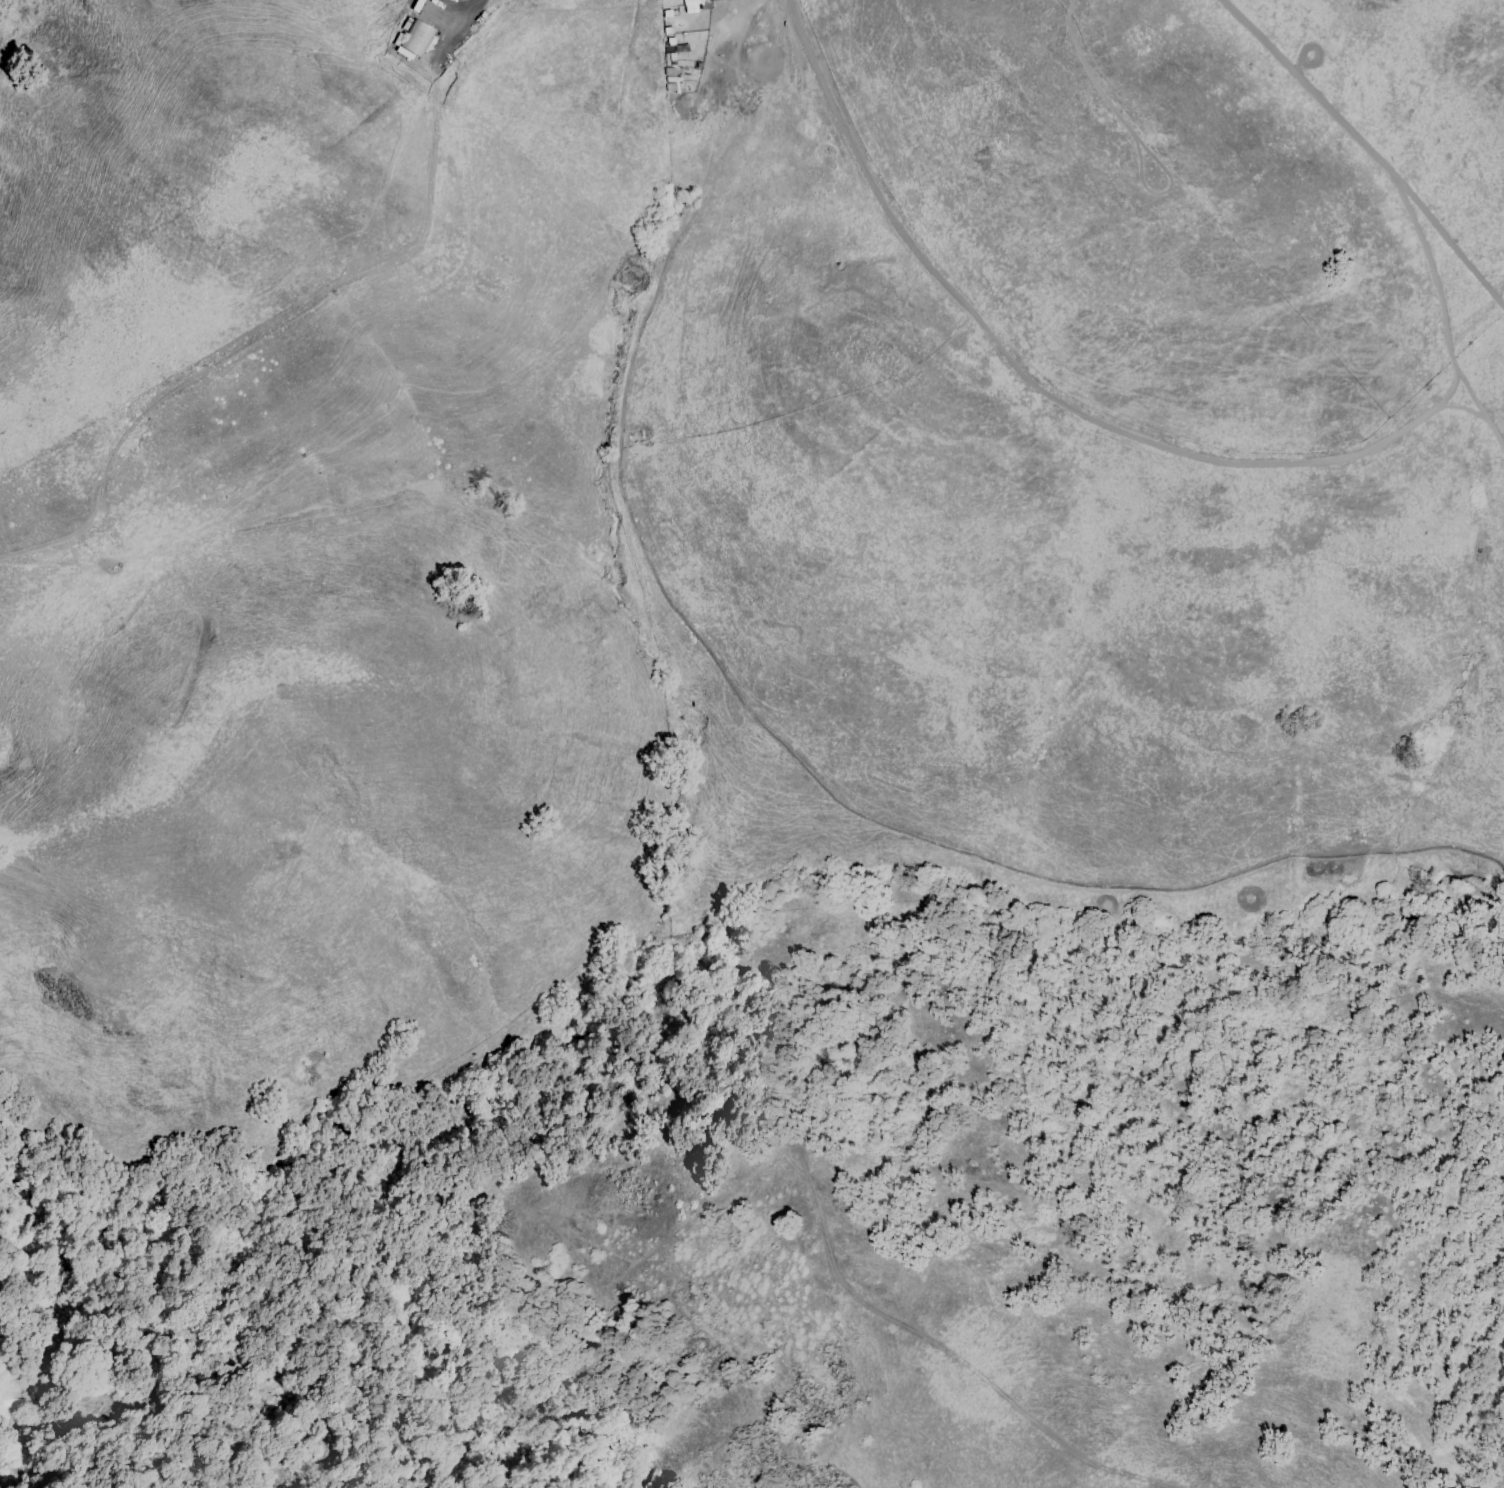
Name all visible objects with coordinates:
building: (714, 0)
building: (690, 5)
road: (444, 16)
road: (456, 28)
building: (417, 38)
road: (1337, 118)
road: (1449, 245)
road: (264, 334)
road: (1445, 341)
road: (1450, 389)
road: (1063, 396)
road: (621, 407)
road: (1155, 888)
road: (943, 1351)

